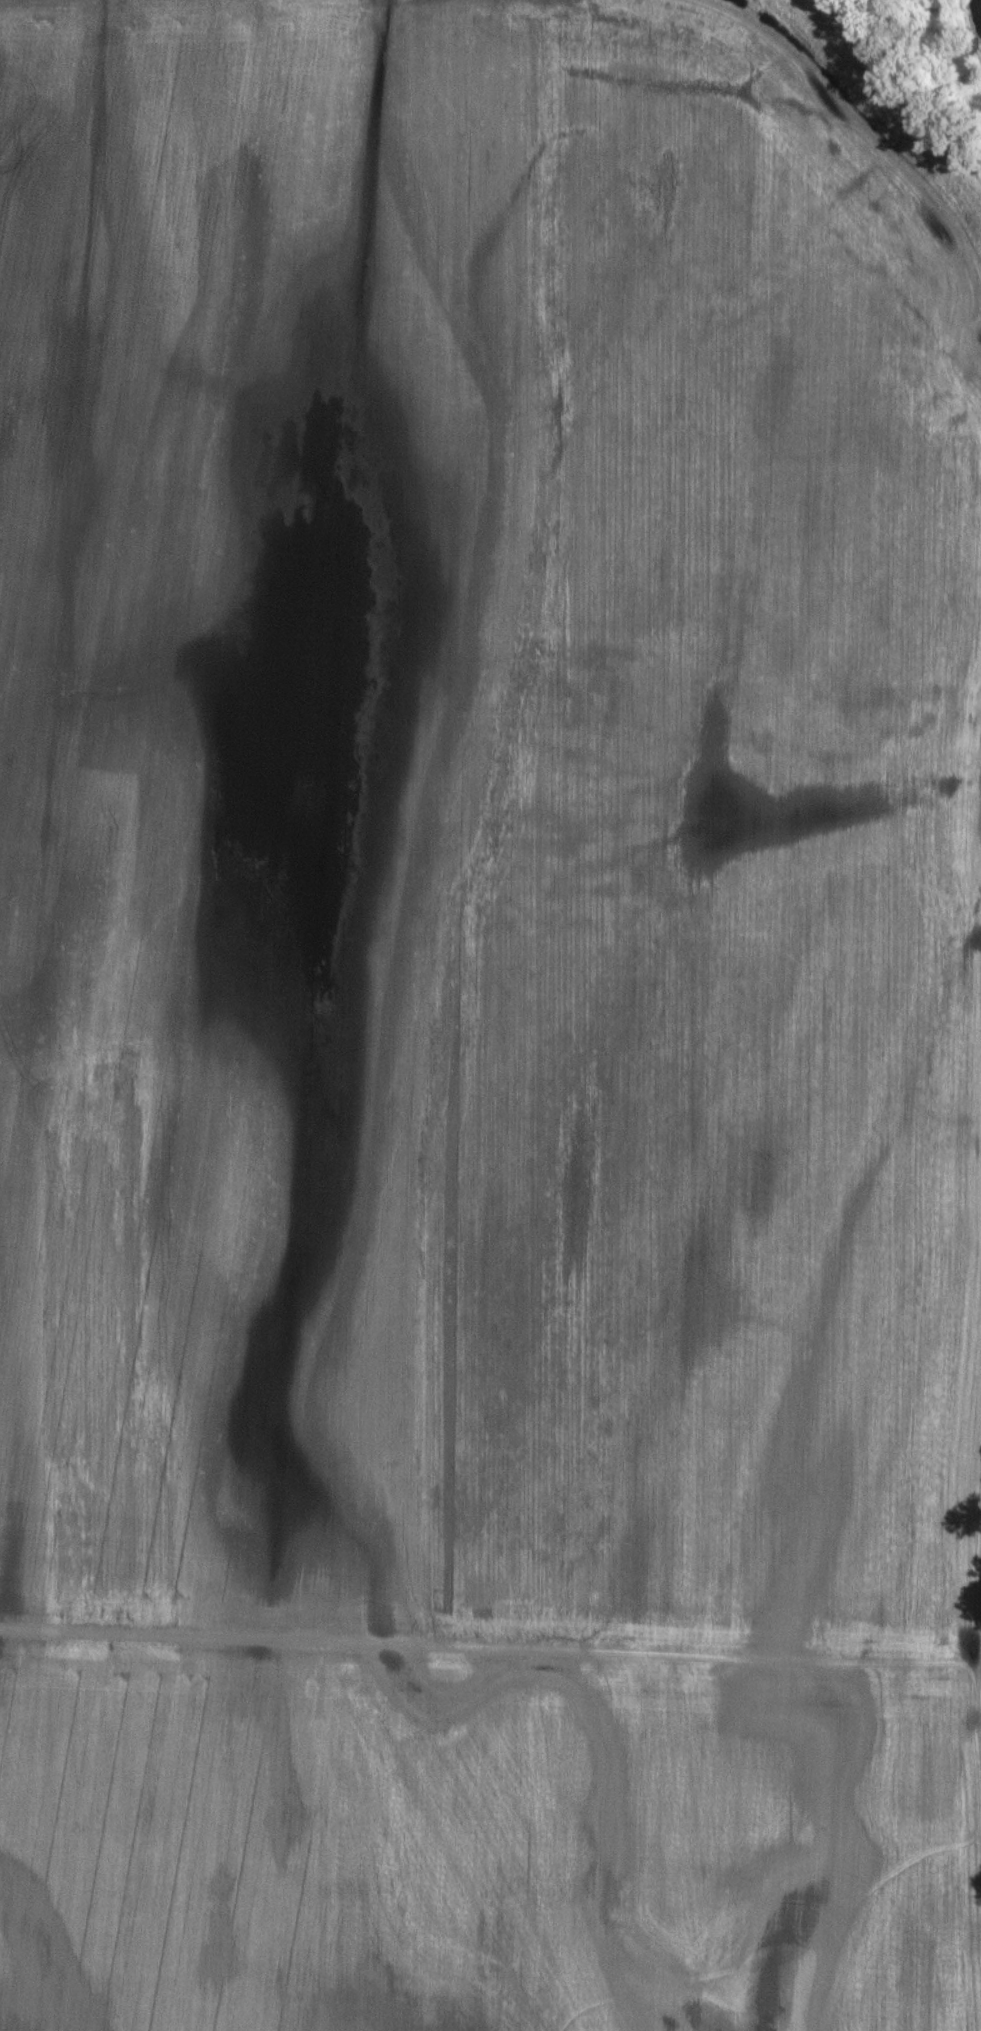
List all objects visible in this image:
road: (899, 96)

